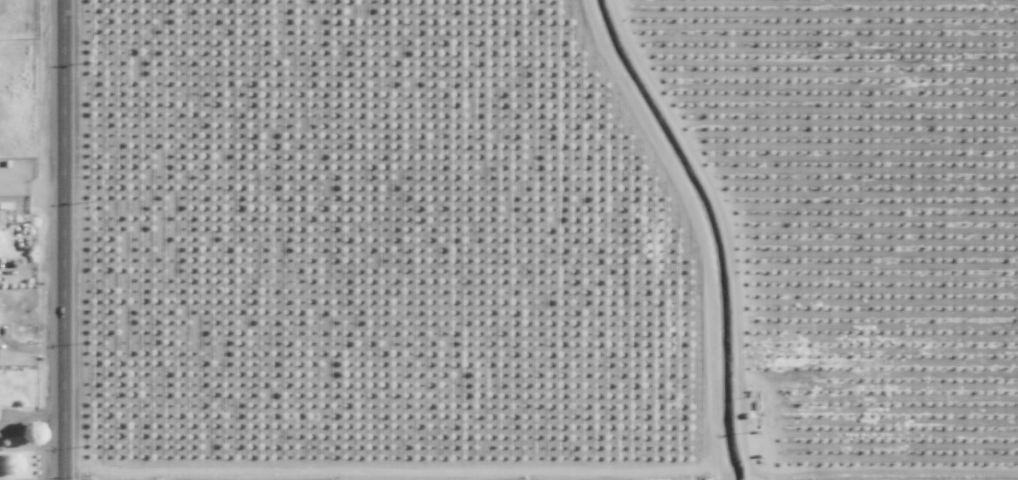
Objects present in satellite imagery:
road: (30, 199)
road: (61, 239)
road: (30, 415)

